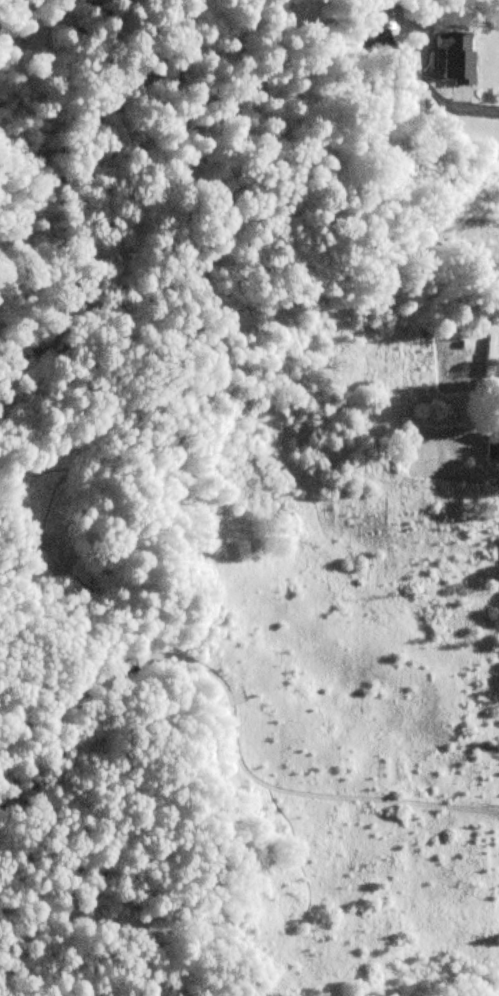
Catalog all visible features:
building: (456, 56)
building: (488, 354)
building: (492, 448)

